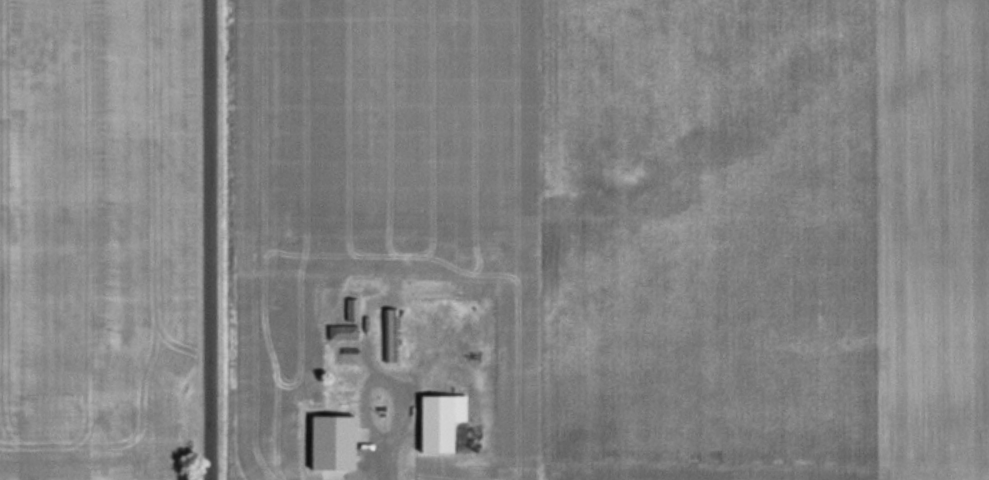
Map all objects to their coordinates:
road: (211, 240)
building: (349, 309)
building: (389, 329)
building: (341, 332)
building: (435, 421)

